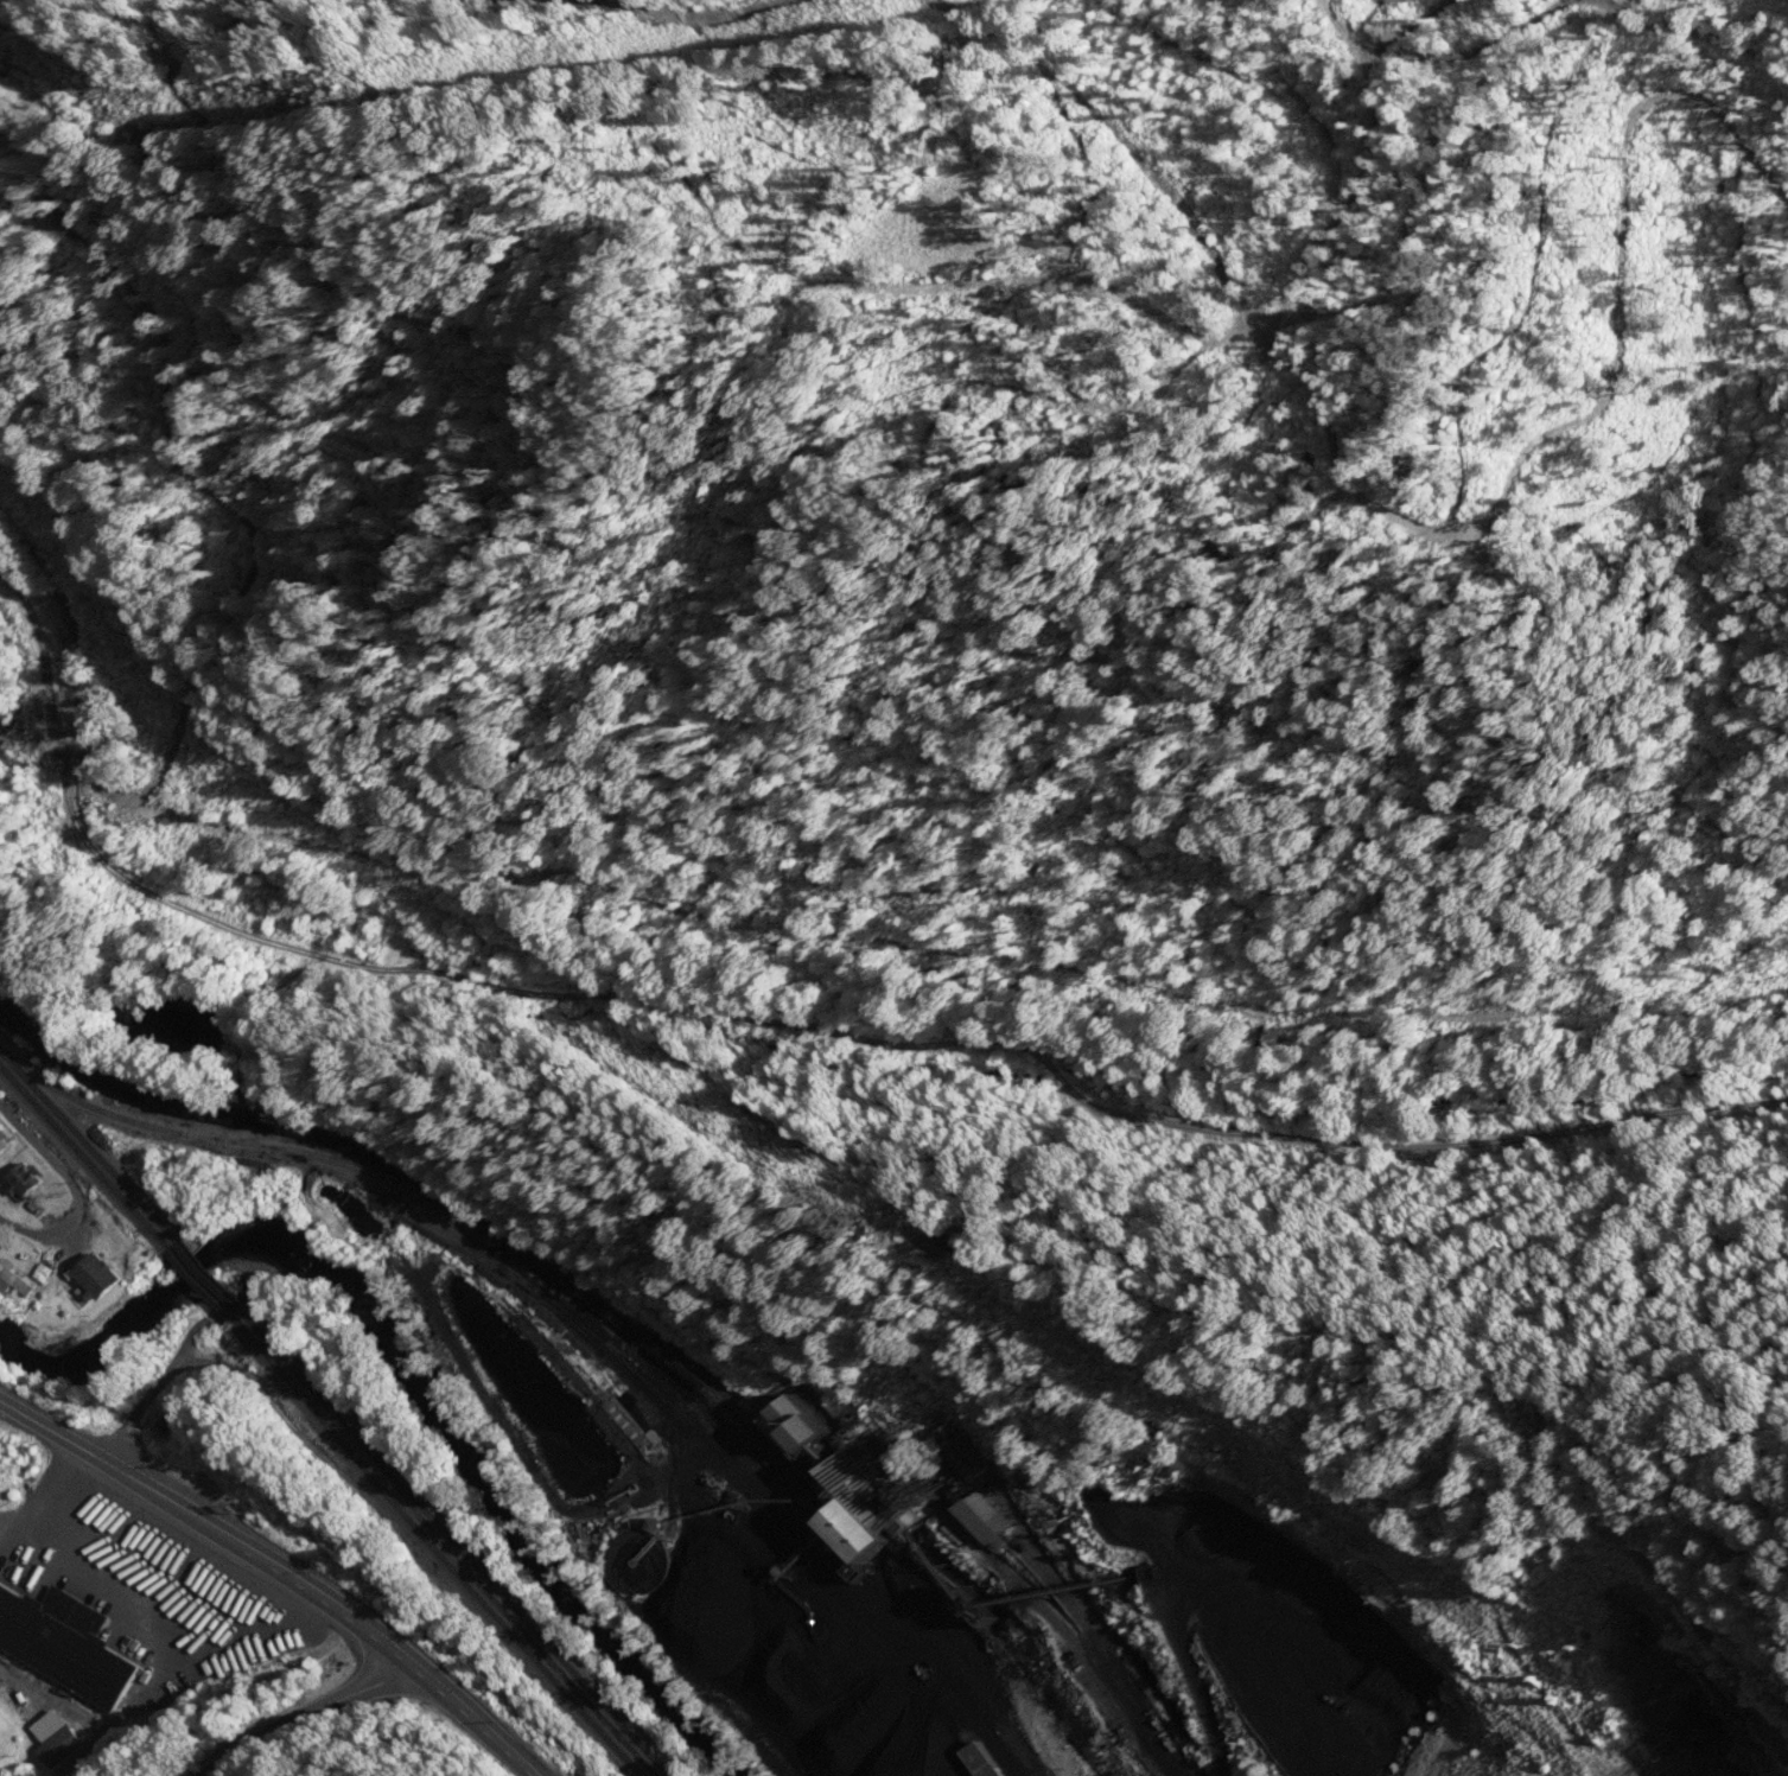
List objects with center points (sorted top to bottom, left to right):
road: (972, 1013)
railway: (217, 1107)
railway: (85, 1141)
building: (2, 1144)
railway: (81, 1153)
building: (24, 1179)
road: (77, 1190)
railway: (206, 1273)
building: (94, 1275)
railway: (195, 1279)
building: (12, 1280)
railway: (560, 1282)
railway: (568, 1310)
railway: (559, 1316)
road: (173, 1363)
river: (402, 1369)
road: (797, 1376)
railway: (706, 1379)
building: (782, 1425)
road: (53, 1432)
building: (956, 1452)
building: (980, 1520)
railway: (456, 1543)
railway: (434, 1546)
quarry: (1001, 1547)
road: (332, 1604)
railway: (517, 1625)
building: (62, 1645)
road: (307, 1715)
building: (57, 1748)

